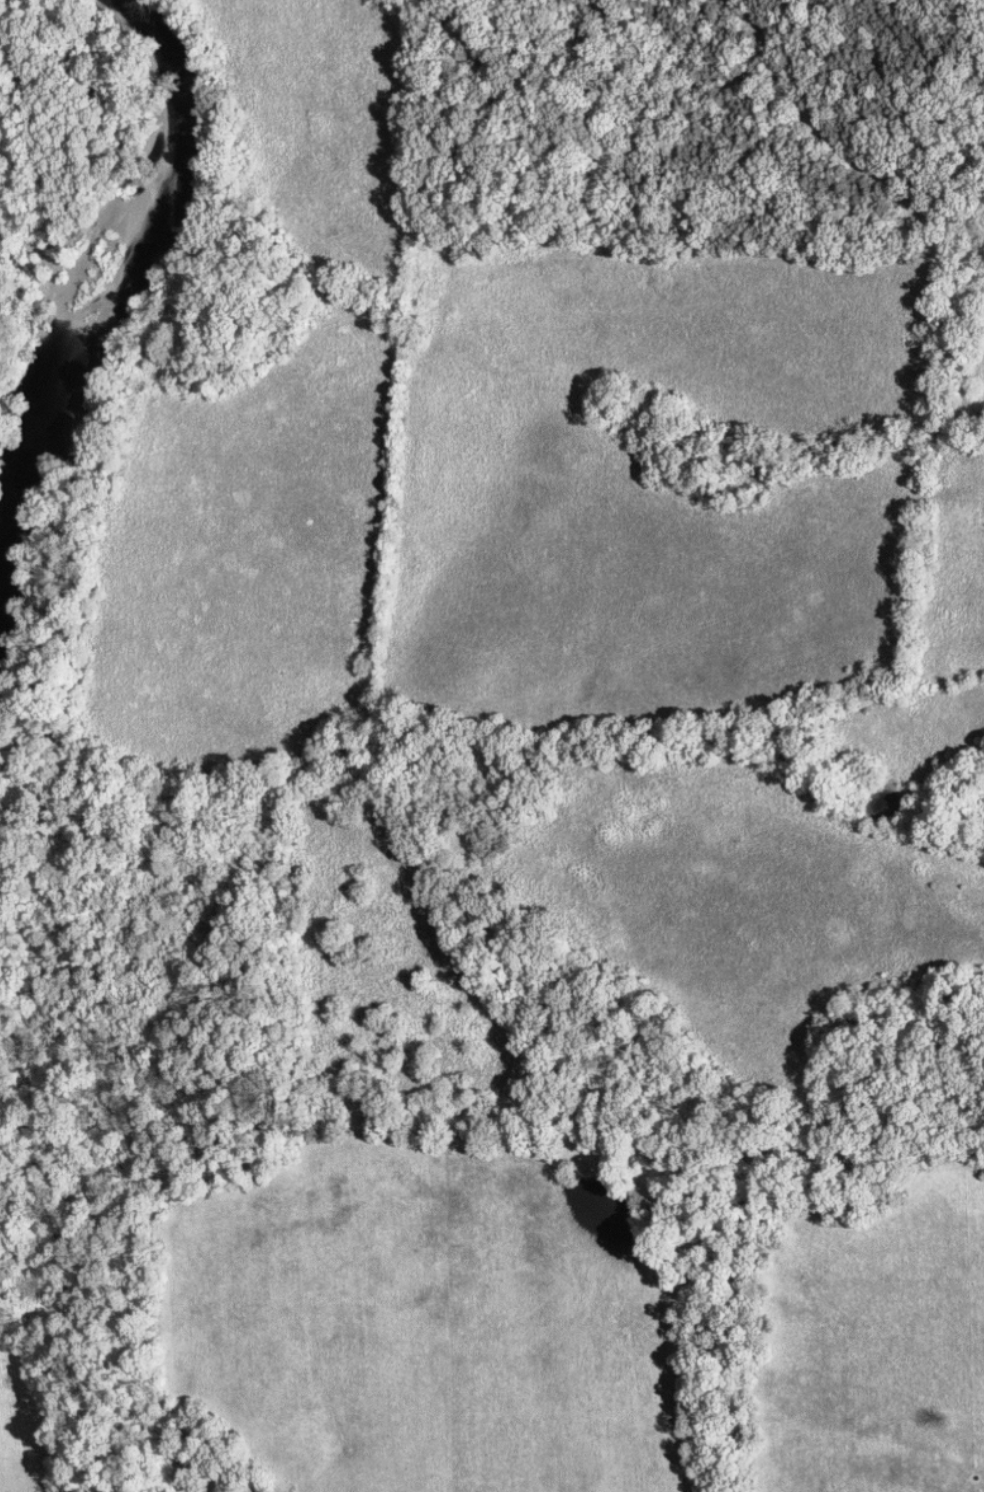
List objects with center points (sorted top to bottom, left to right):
river: (143, 277)

